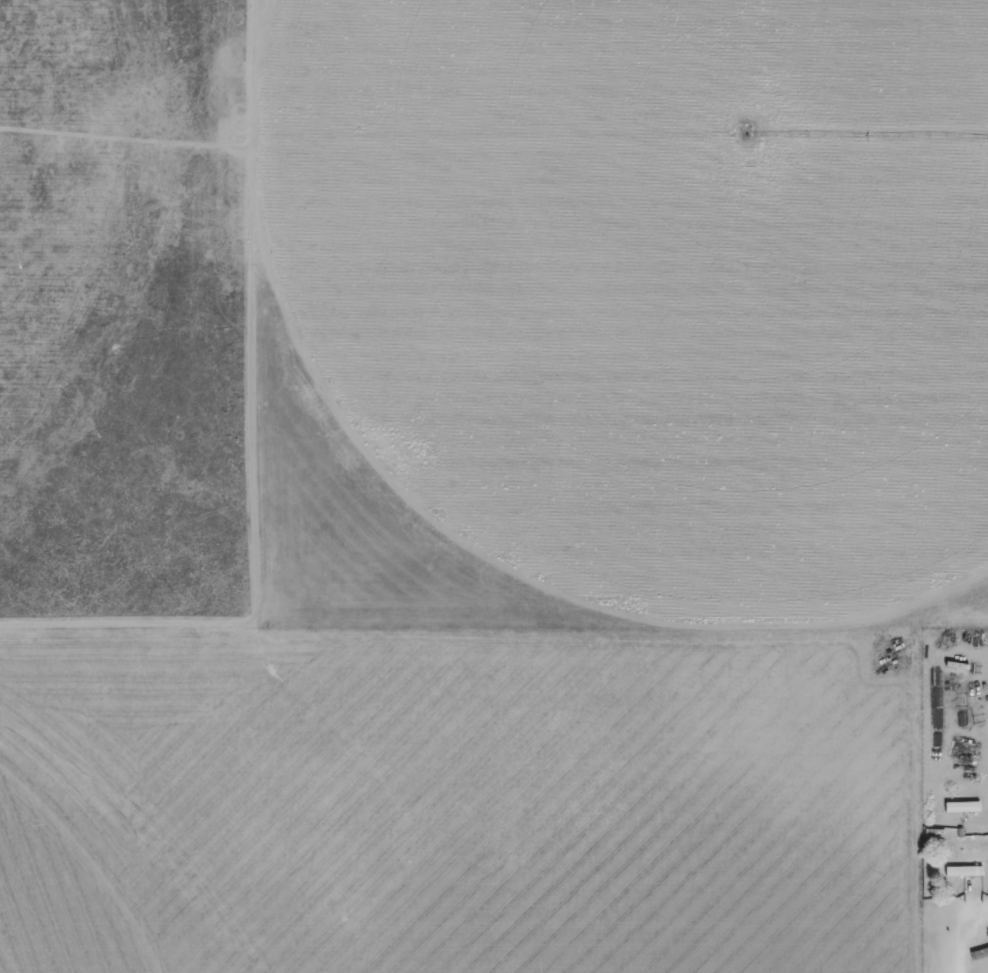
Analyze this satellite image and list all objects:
road: (243, 434)
road: (443, 521)
road: (915, 765)
road: (144, 834)
road: (953, 846)
building: (960, 871)
road: (956, 923)

